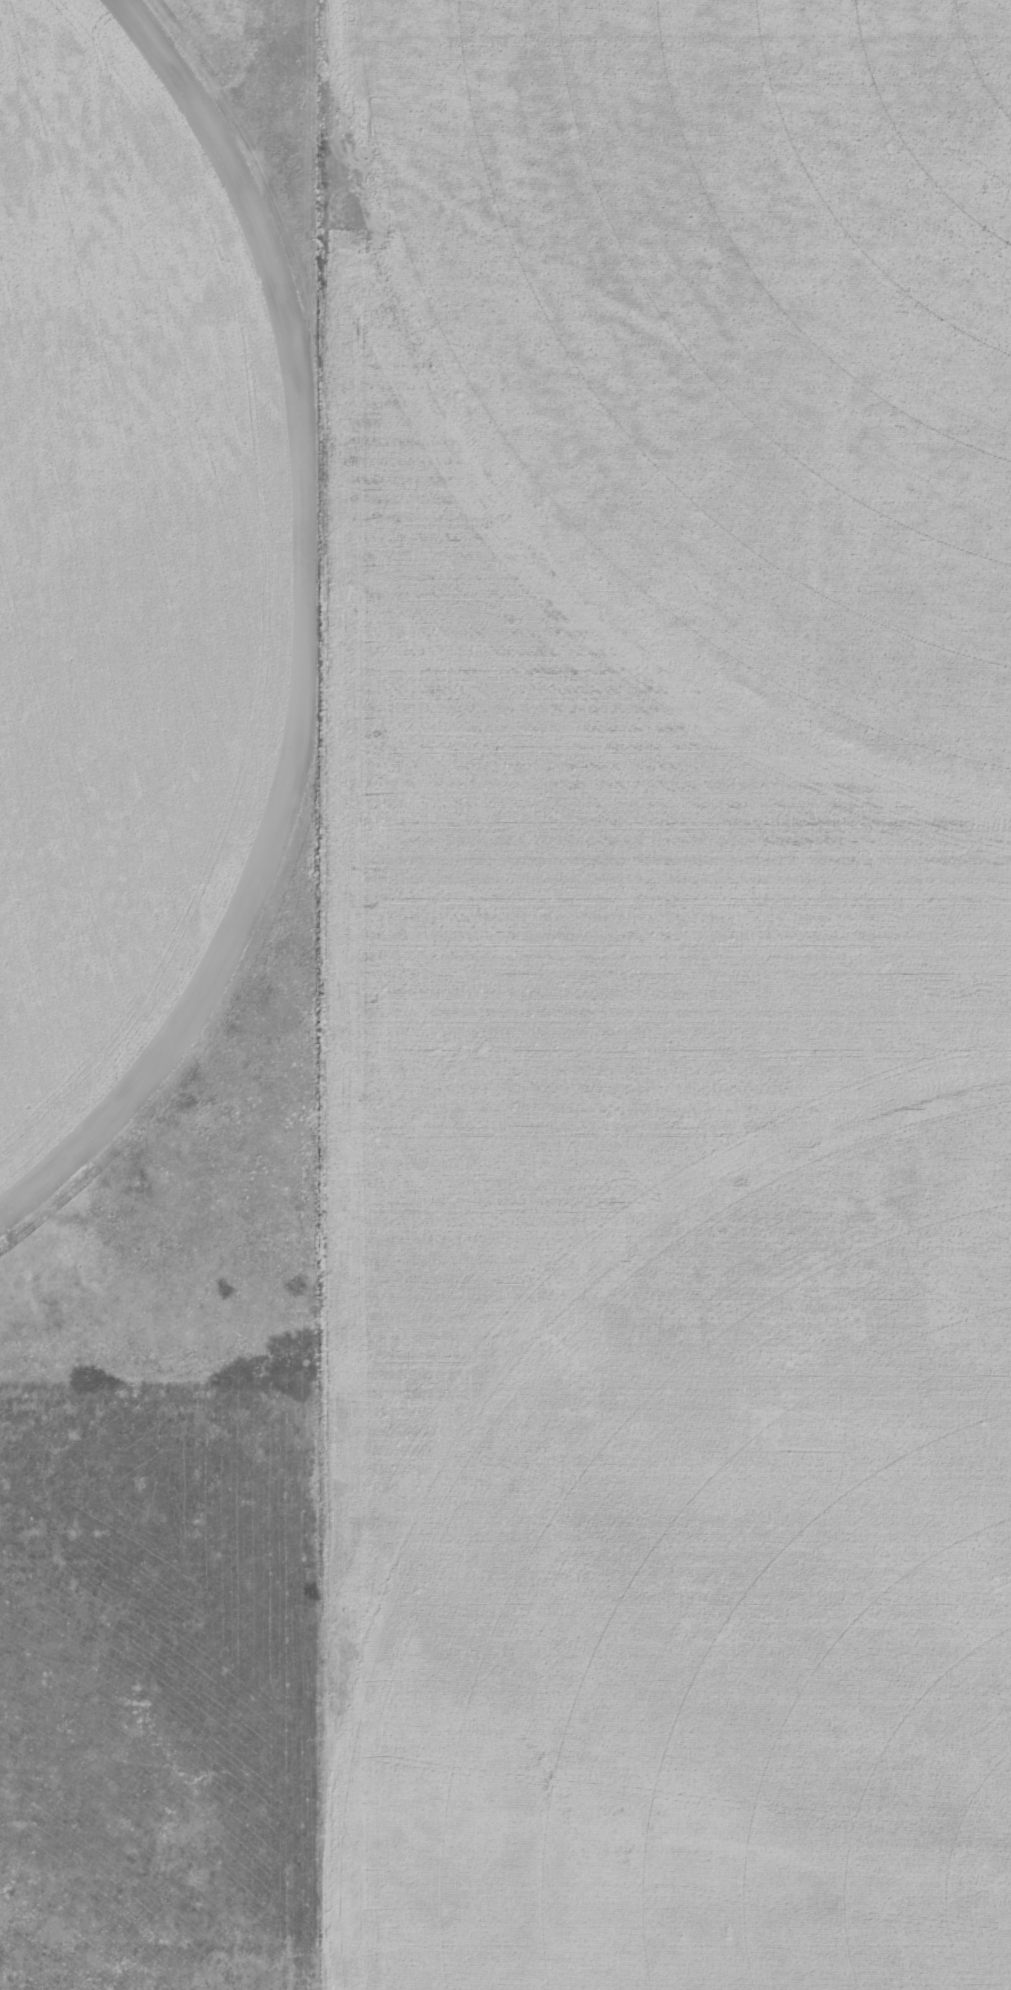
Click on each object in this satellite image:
road: (176, 1317)

